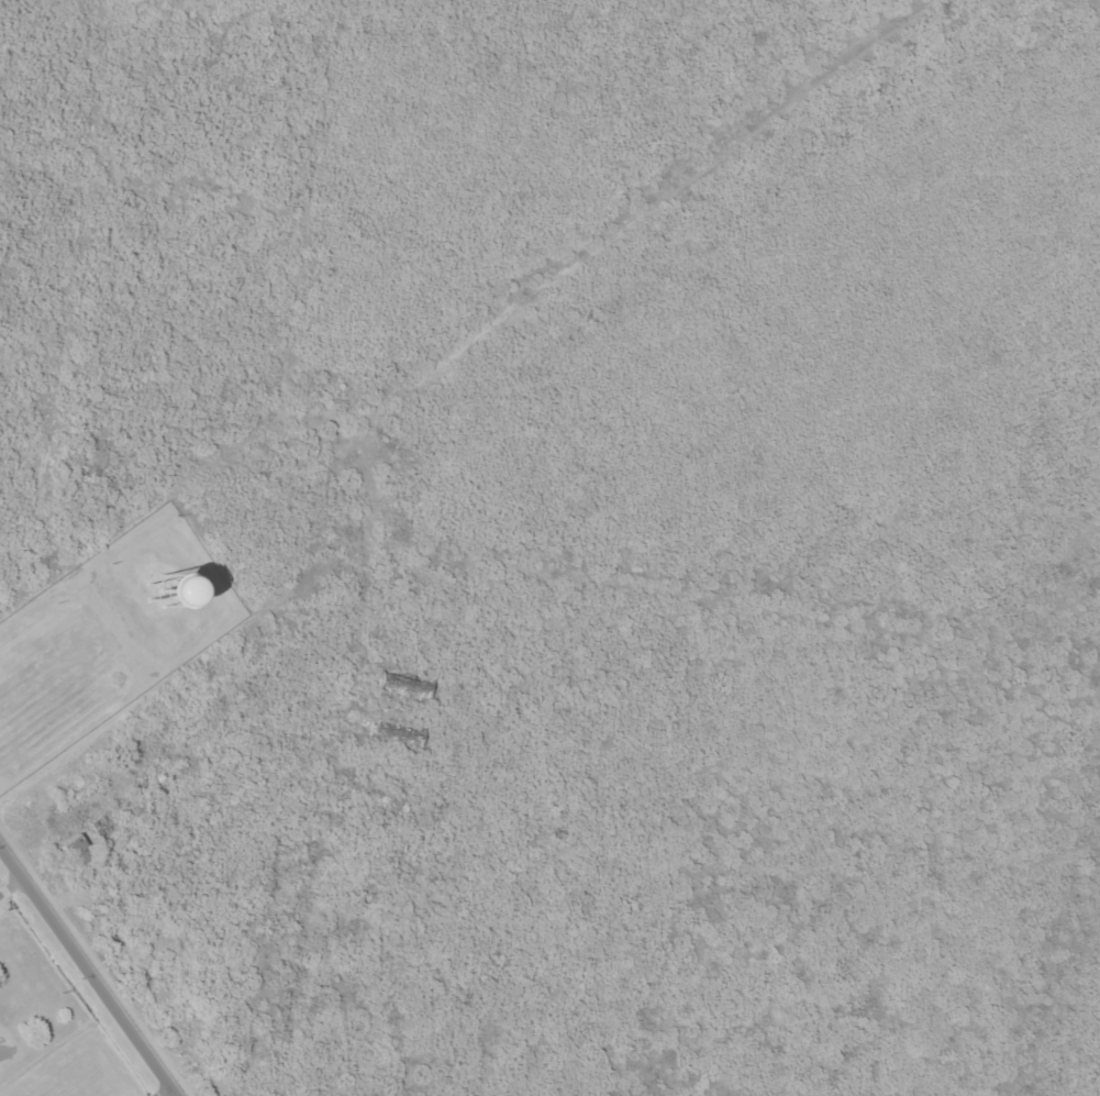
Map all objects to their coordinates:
road: (1086, 2)
road: (723, 70)
road: (579, 146)
road: (663, 277)
road: (484, 294)
road: (288, 384)
road: (46, 467)
road: (733, 606)
road: (204, 657)
building: (410, 685)
road: (336, 815)
building: (77, 852)
road: (1070, 899)
road: (19, 910)
road: (89, 971)
airport: (68, 998)
road: (166, 1092)

